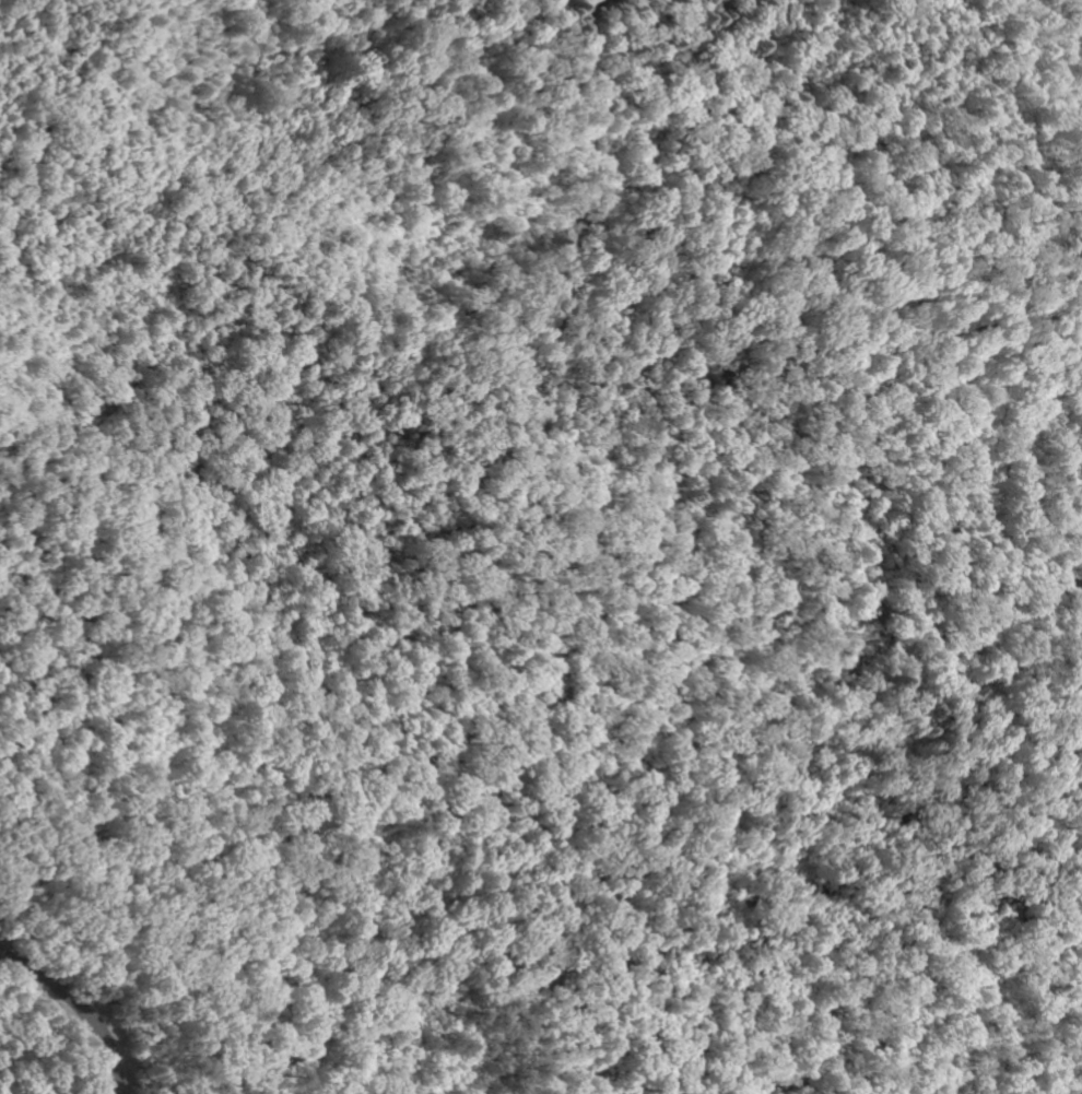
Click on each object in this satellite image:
road: (75, 1011)

